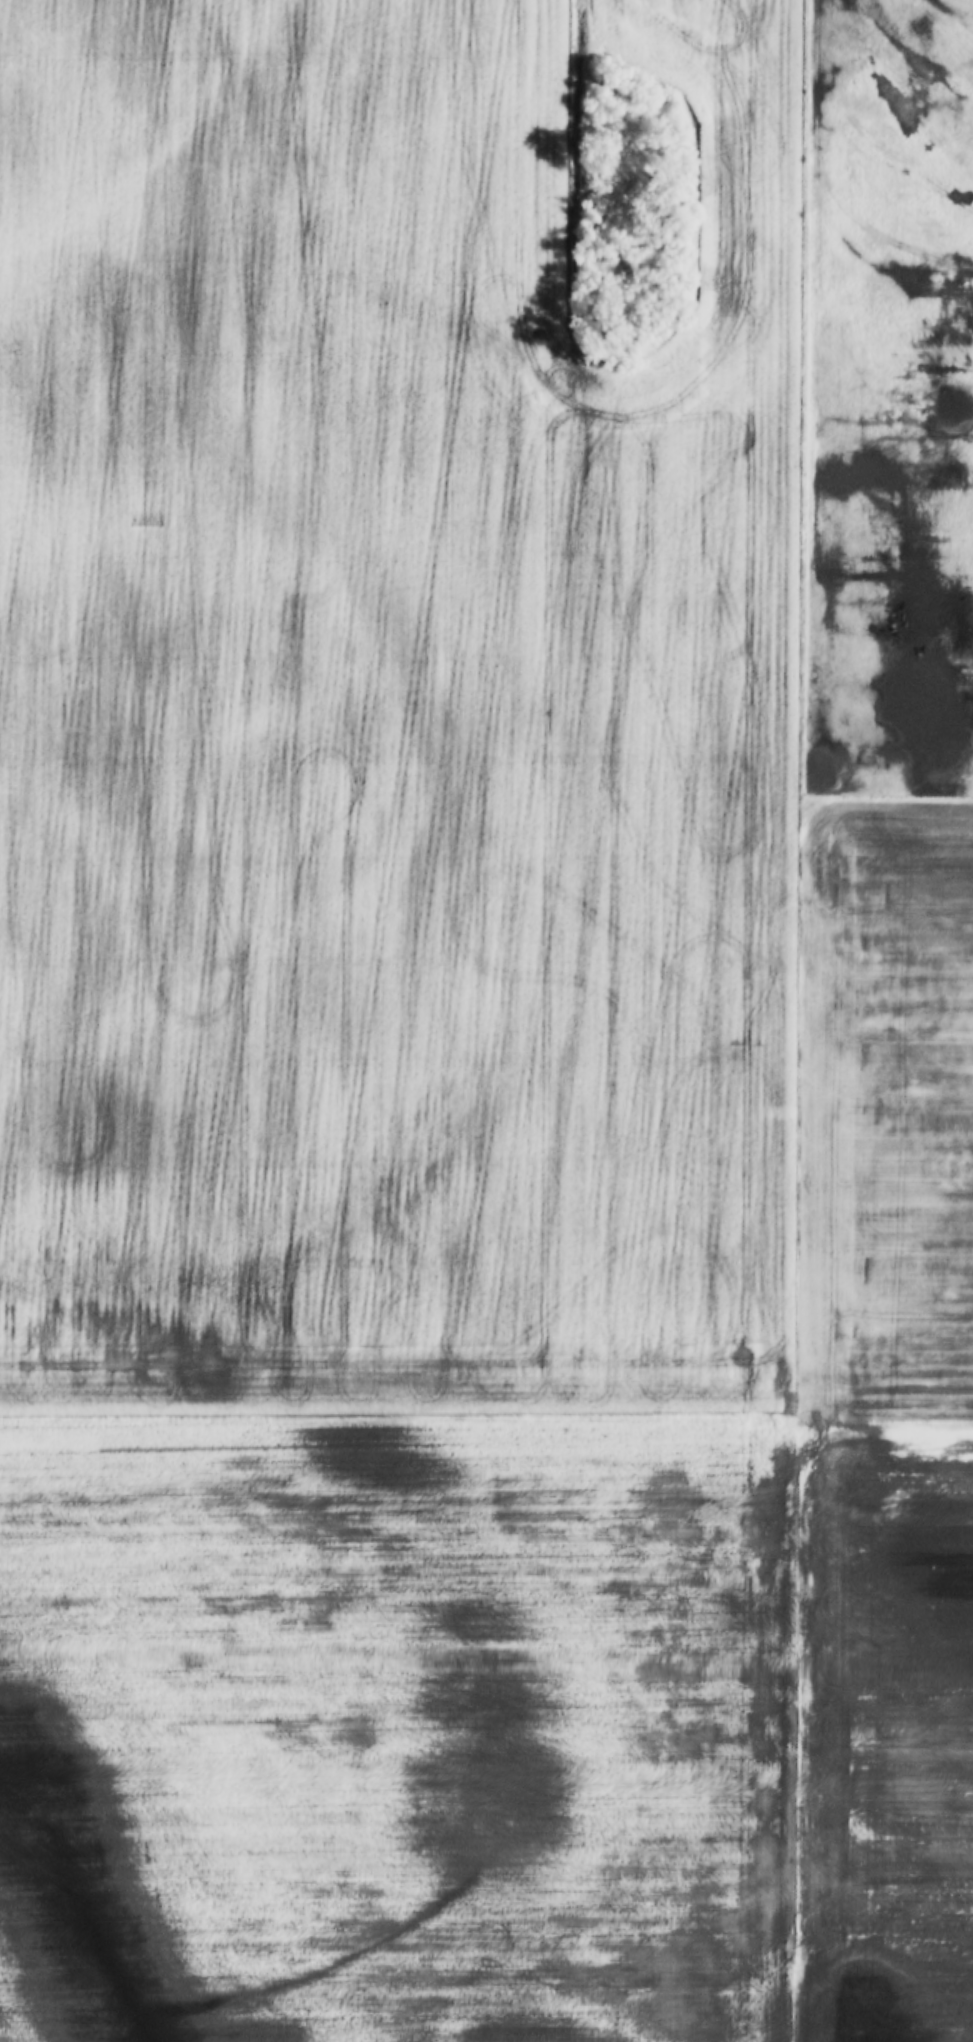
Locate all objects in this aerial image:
crop: (395, 1017)
crop: (881, 1034)

